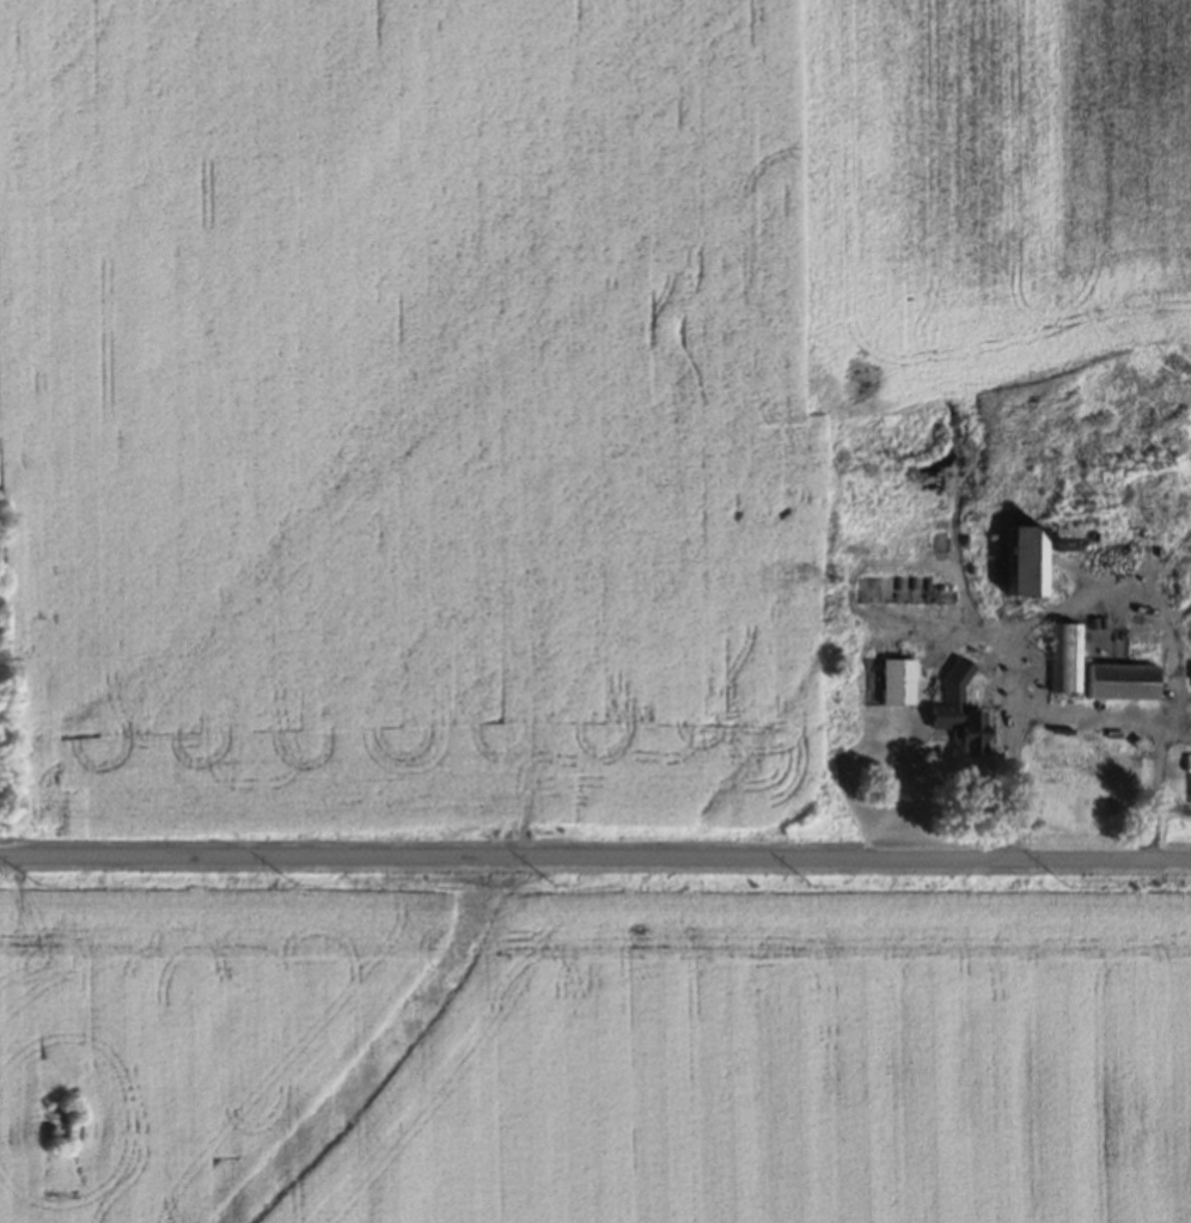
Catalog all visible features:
building: (1152, 505)
building: (1008, 525)
road: (1097, 606)
building: (933, 622)
building: (900, 647)
building: (1061, 661)
building: (1118, 679)
building: (891, 686)
building: (957, 717)
road: (595, 857)

